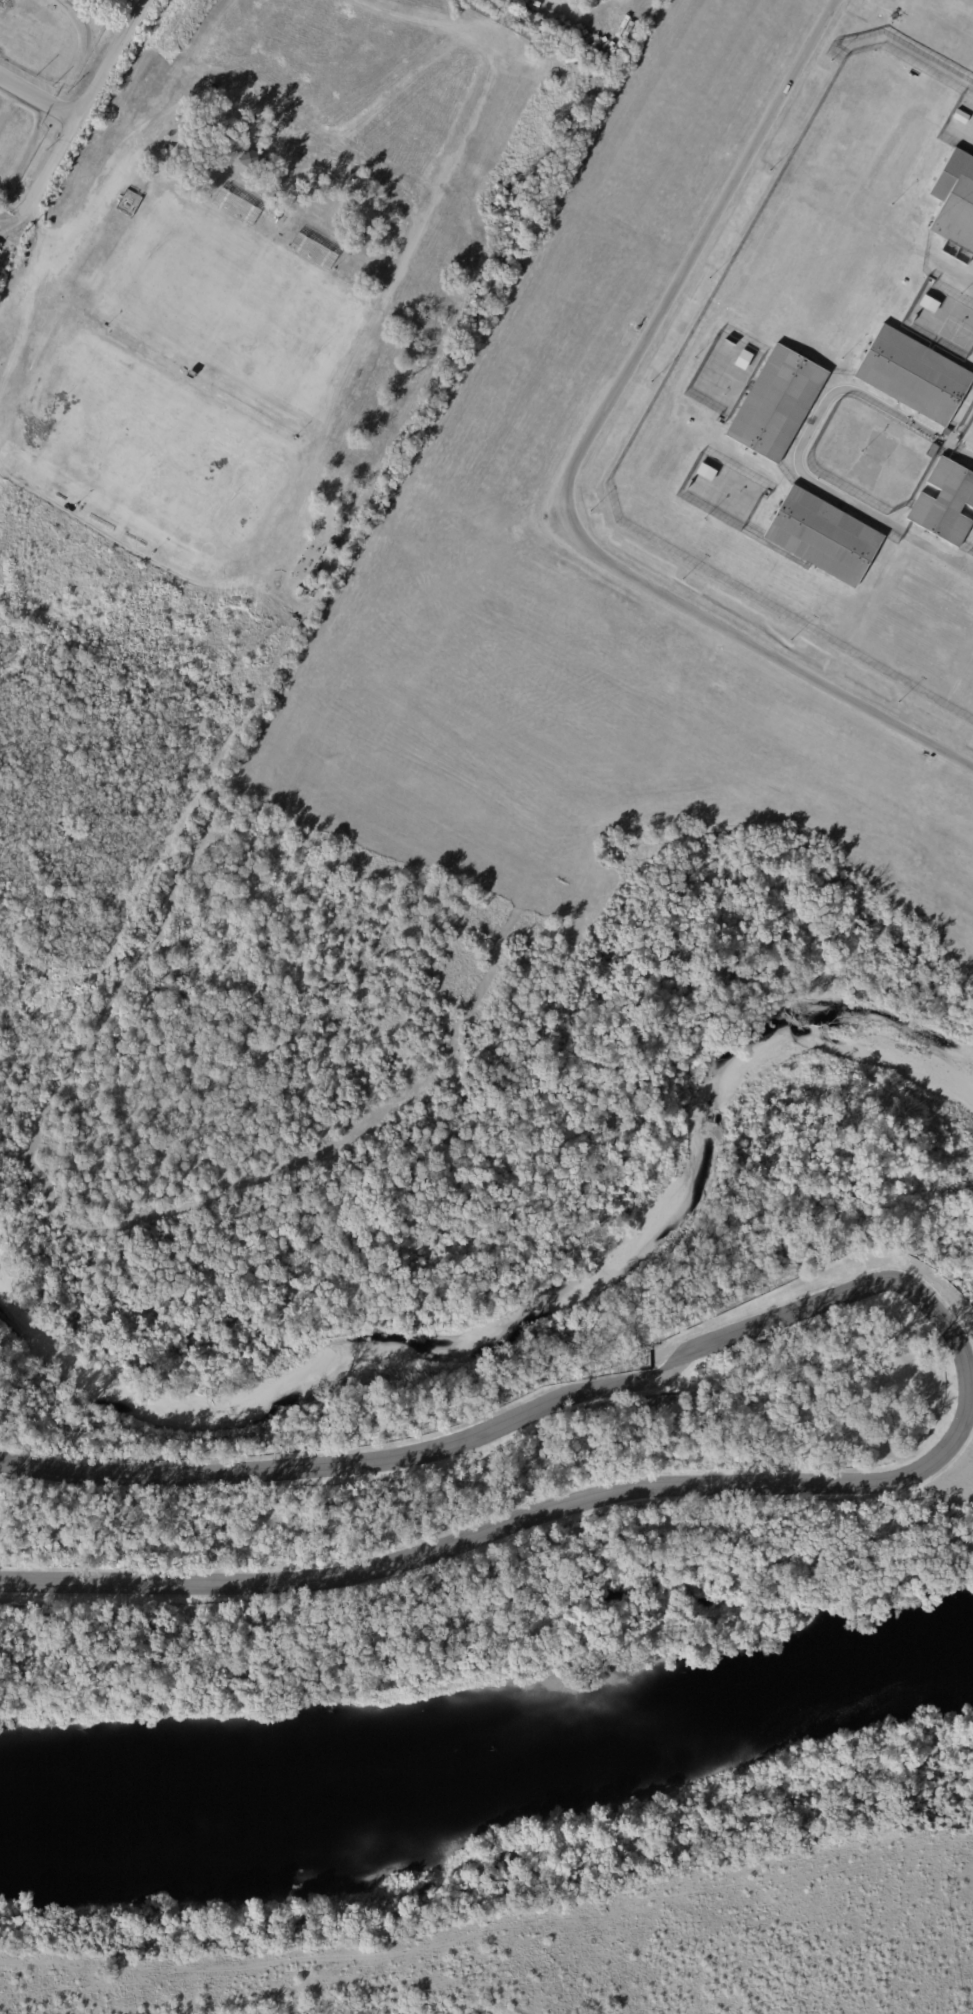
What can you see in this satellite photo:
building: (90, 0)
building: (408, 3)
building: (505, 22)
road: (91, 92)
road: (38, 100)
building: (960, 116)
building: (248, 156)
building: (955, 206)
road: (22, 209)
building: (1, 246)
building: (928, 304)
building: (741, 360)
building: (913, 376)
building: (776, 404)
road: (800, 446)
building: (932, 451)
road: (580, 463)
building: (705, 472)
building: (945, 504)
building: (823, 537)
road: (971, 565)
park: (445, 1088)
raceway: (969, 1373)
park: (487, 1622)
river: (490, 1754)

